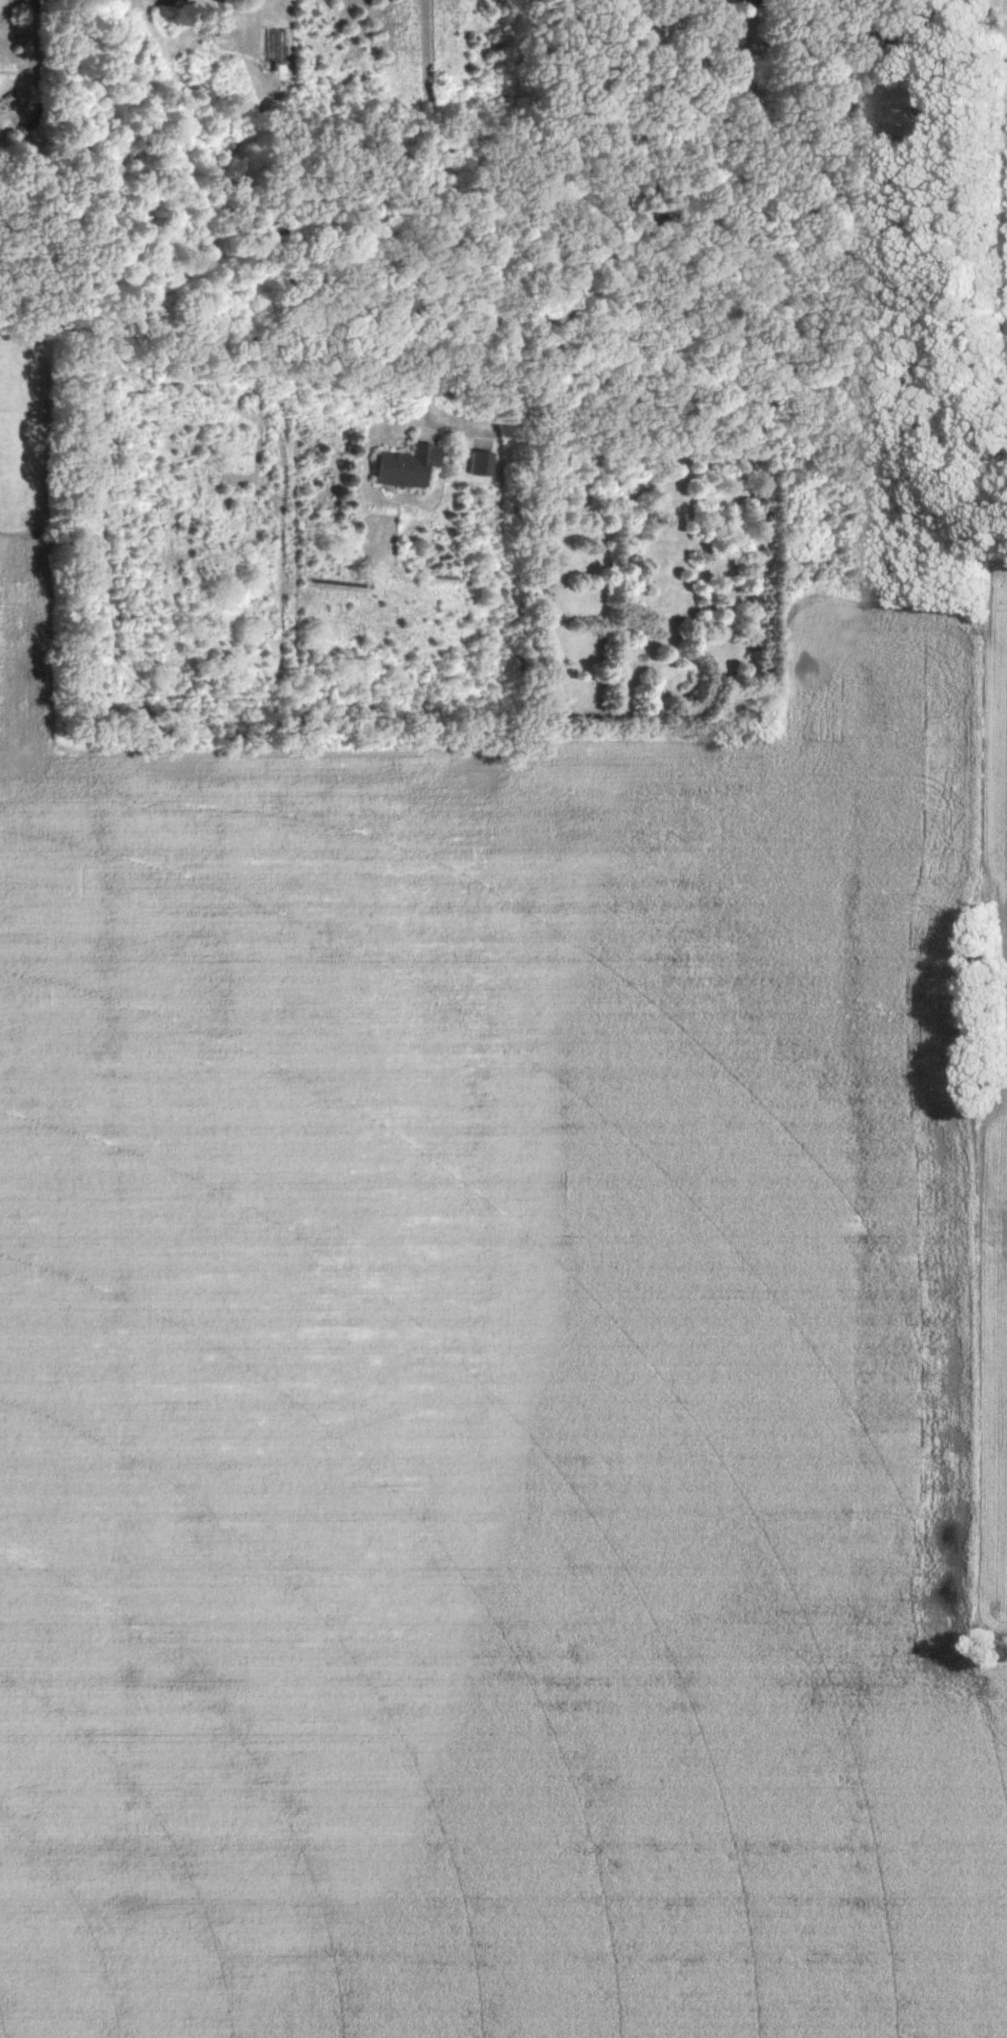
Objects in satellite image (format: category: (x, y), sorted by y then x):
road: (824, 18)
road: (459, 210)
building: (481, 461)
building: (406, 463)
crop: (994, 922)
airport runway: (1000, 1228)
crop: (499, 1373)
crop: (997, 1448)

